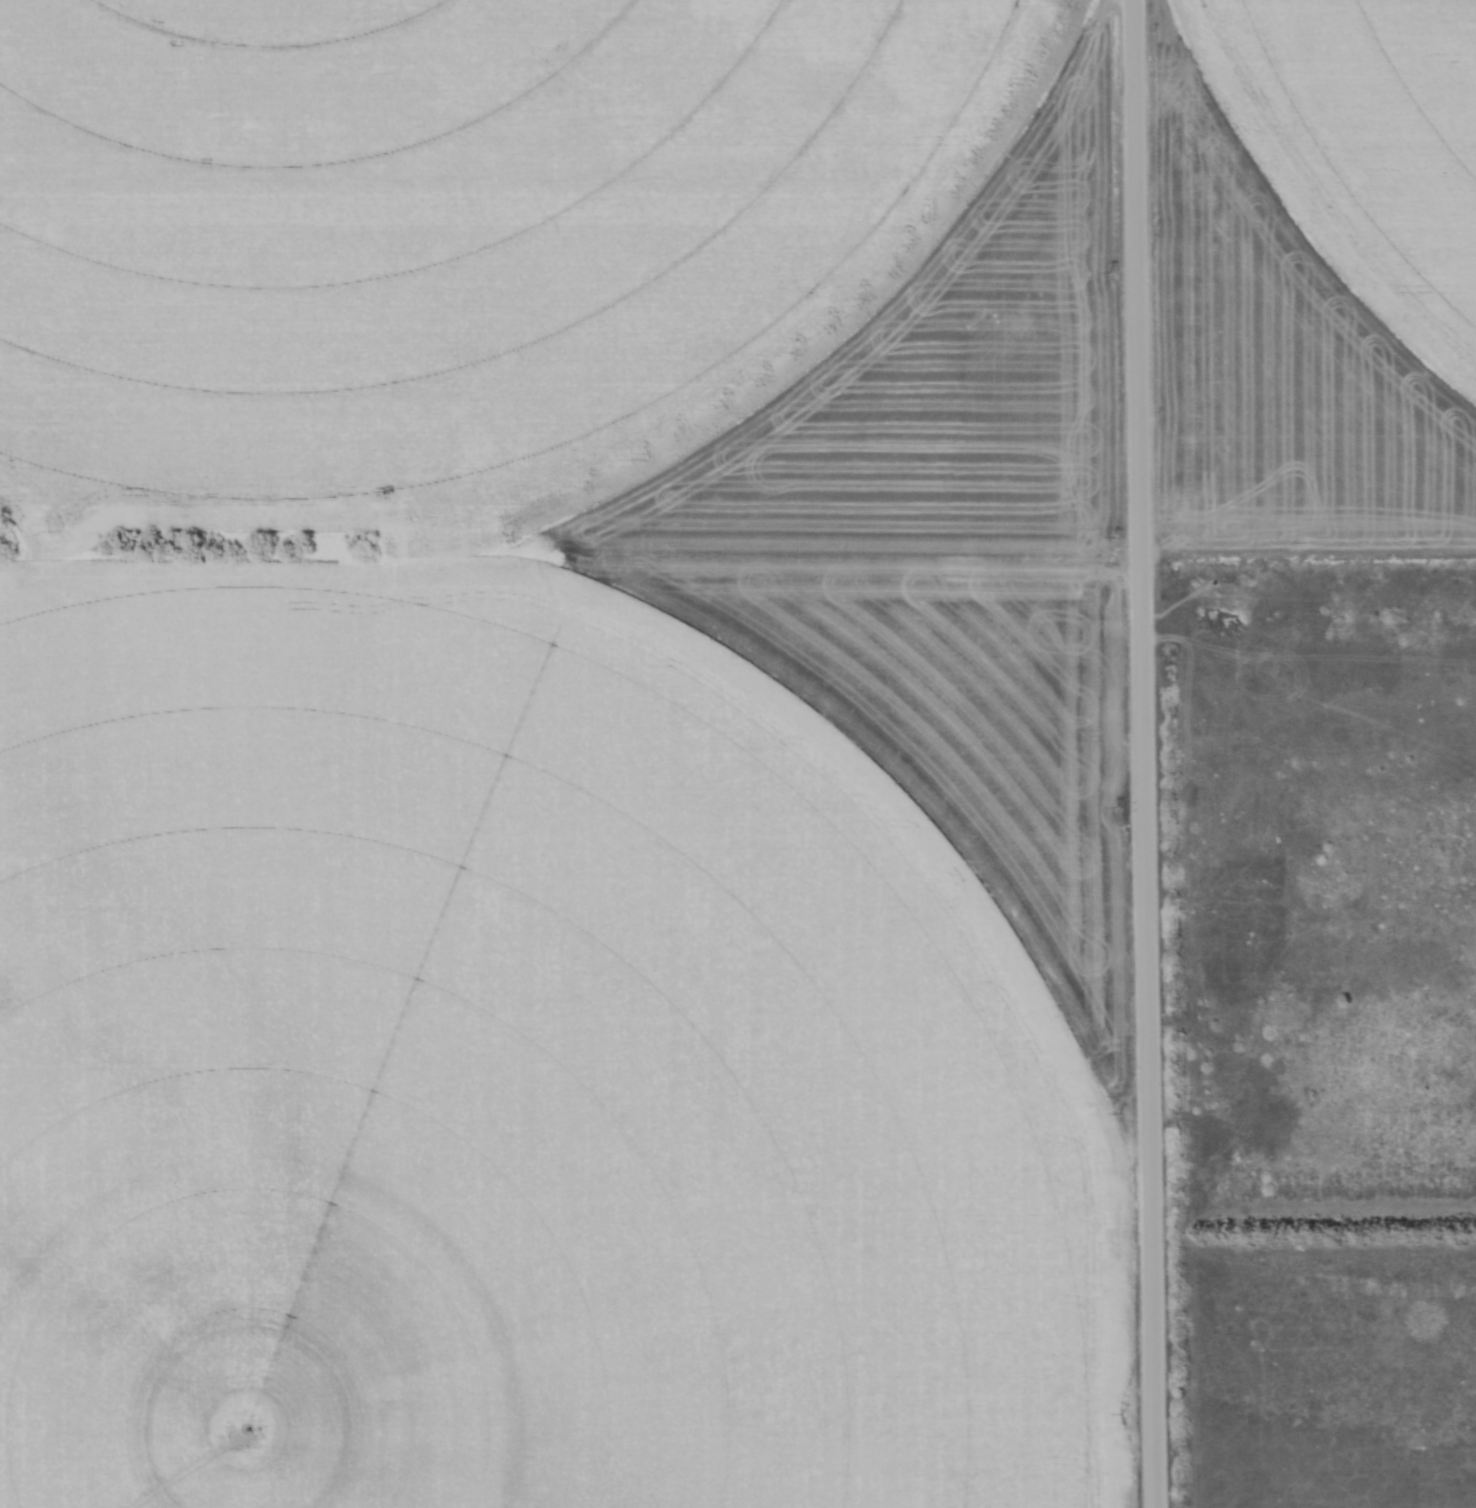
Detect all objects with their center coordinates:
road: (1145, 754)

